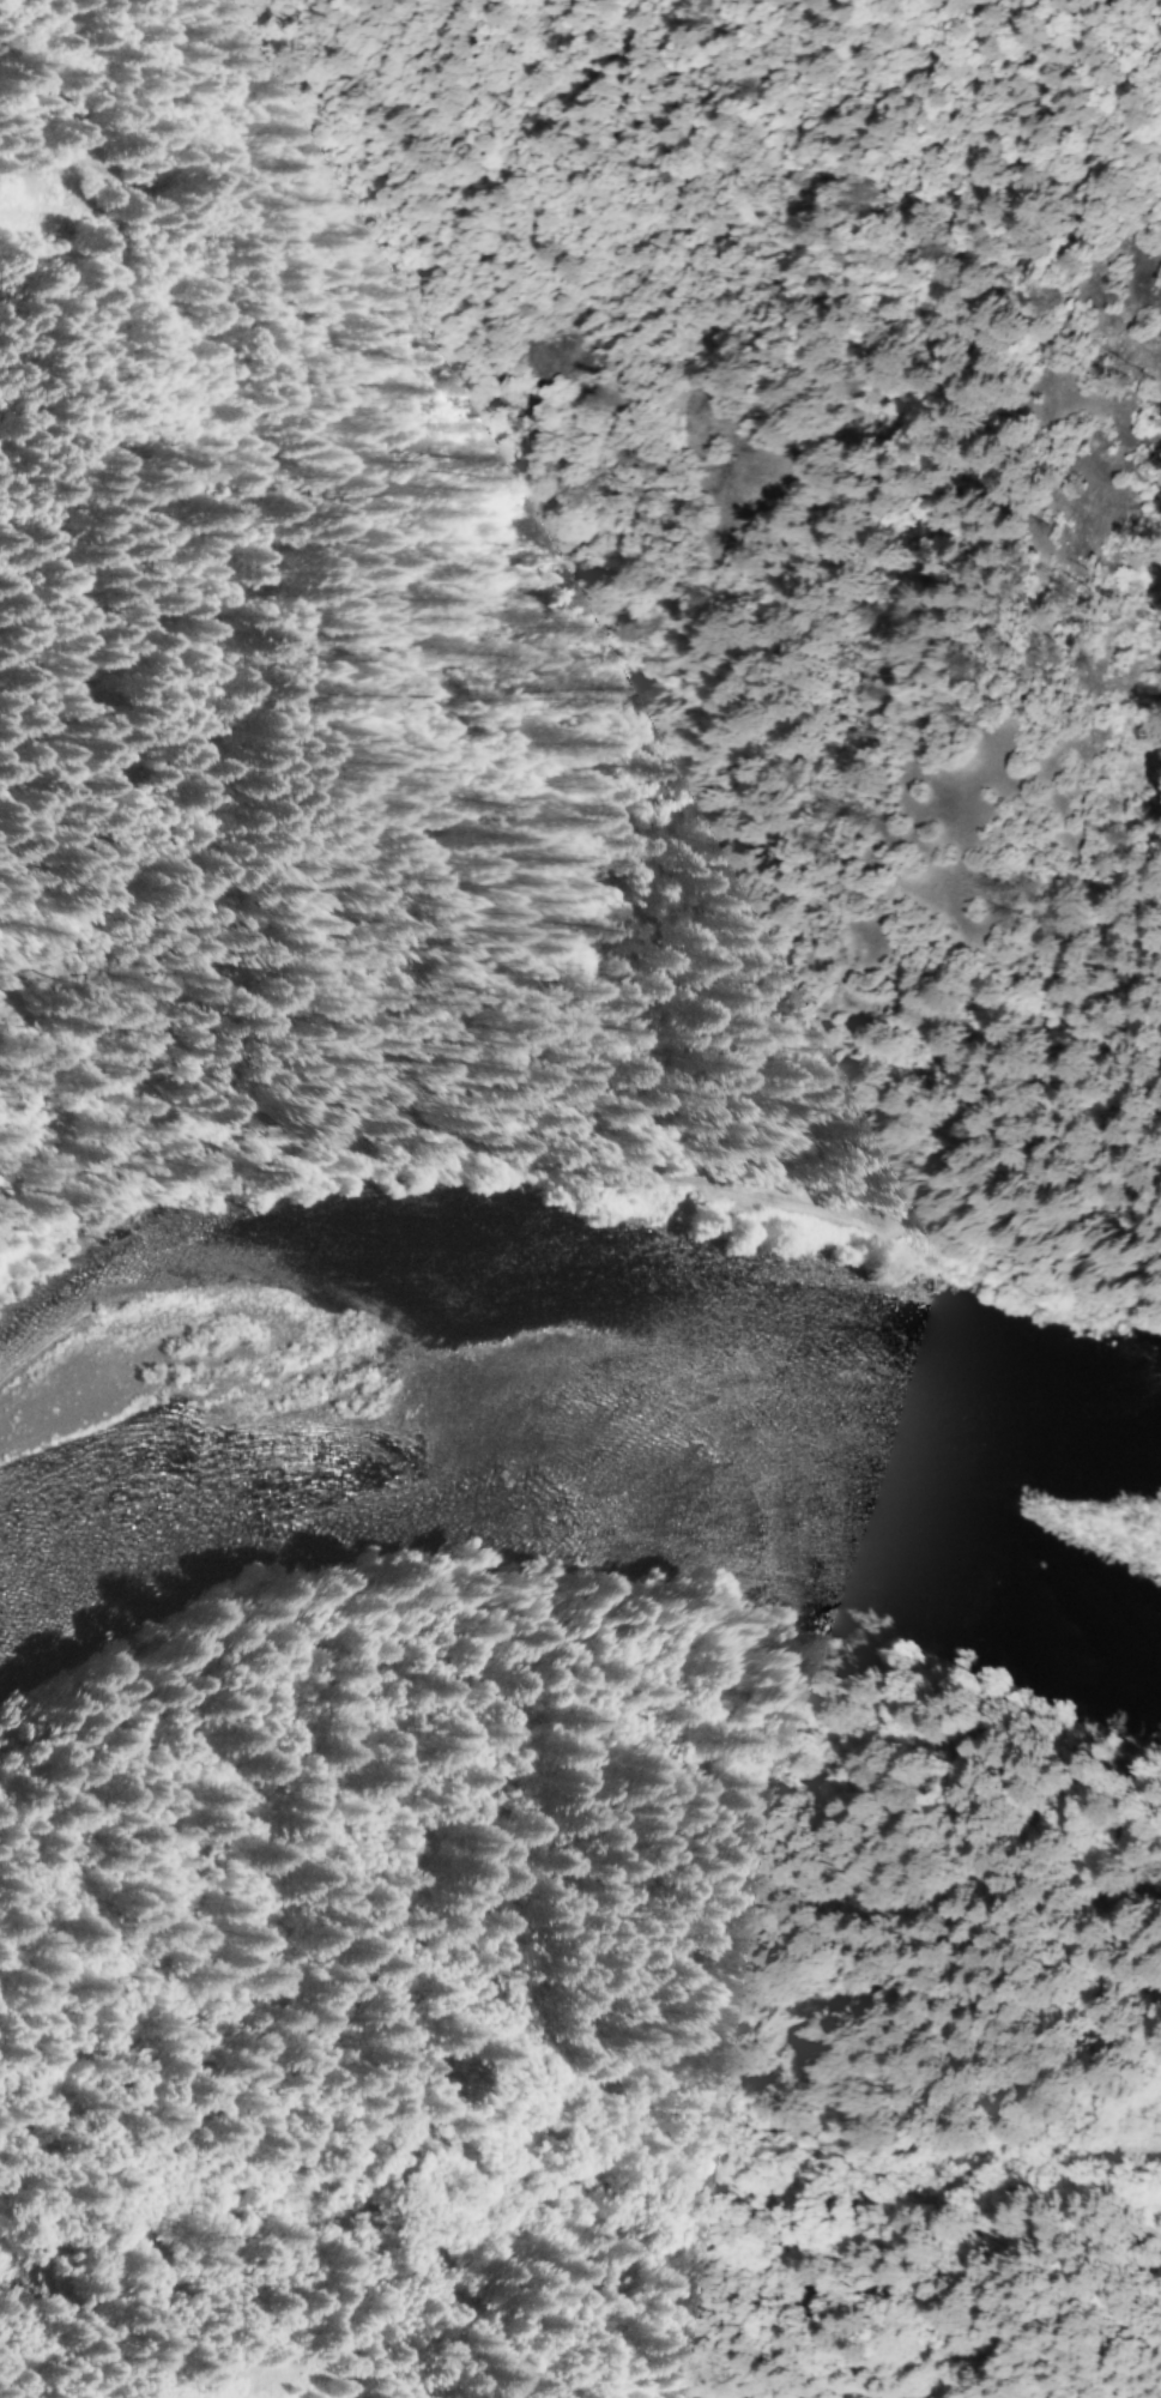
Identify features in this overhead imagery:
road: (575, 1093)
river: (598, 1480)

